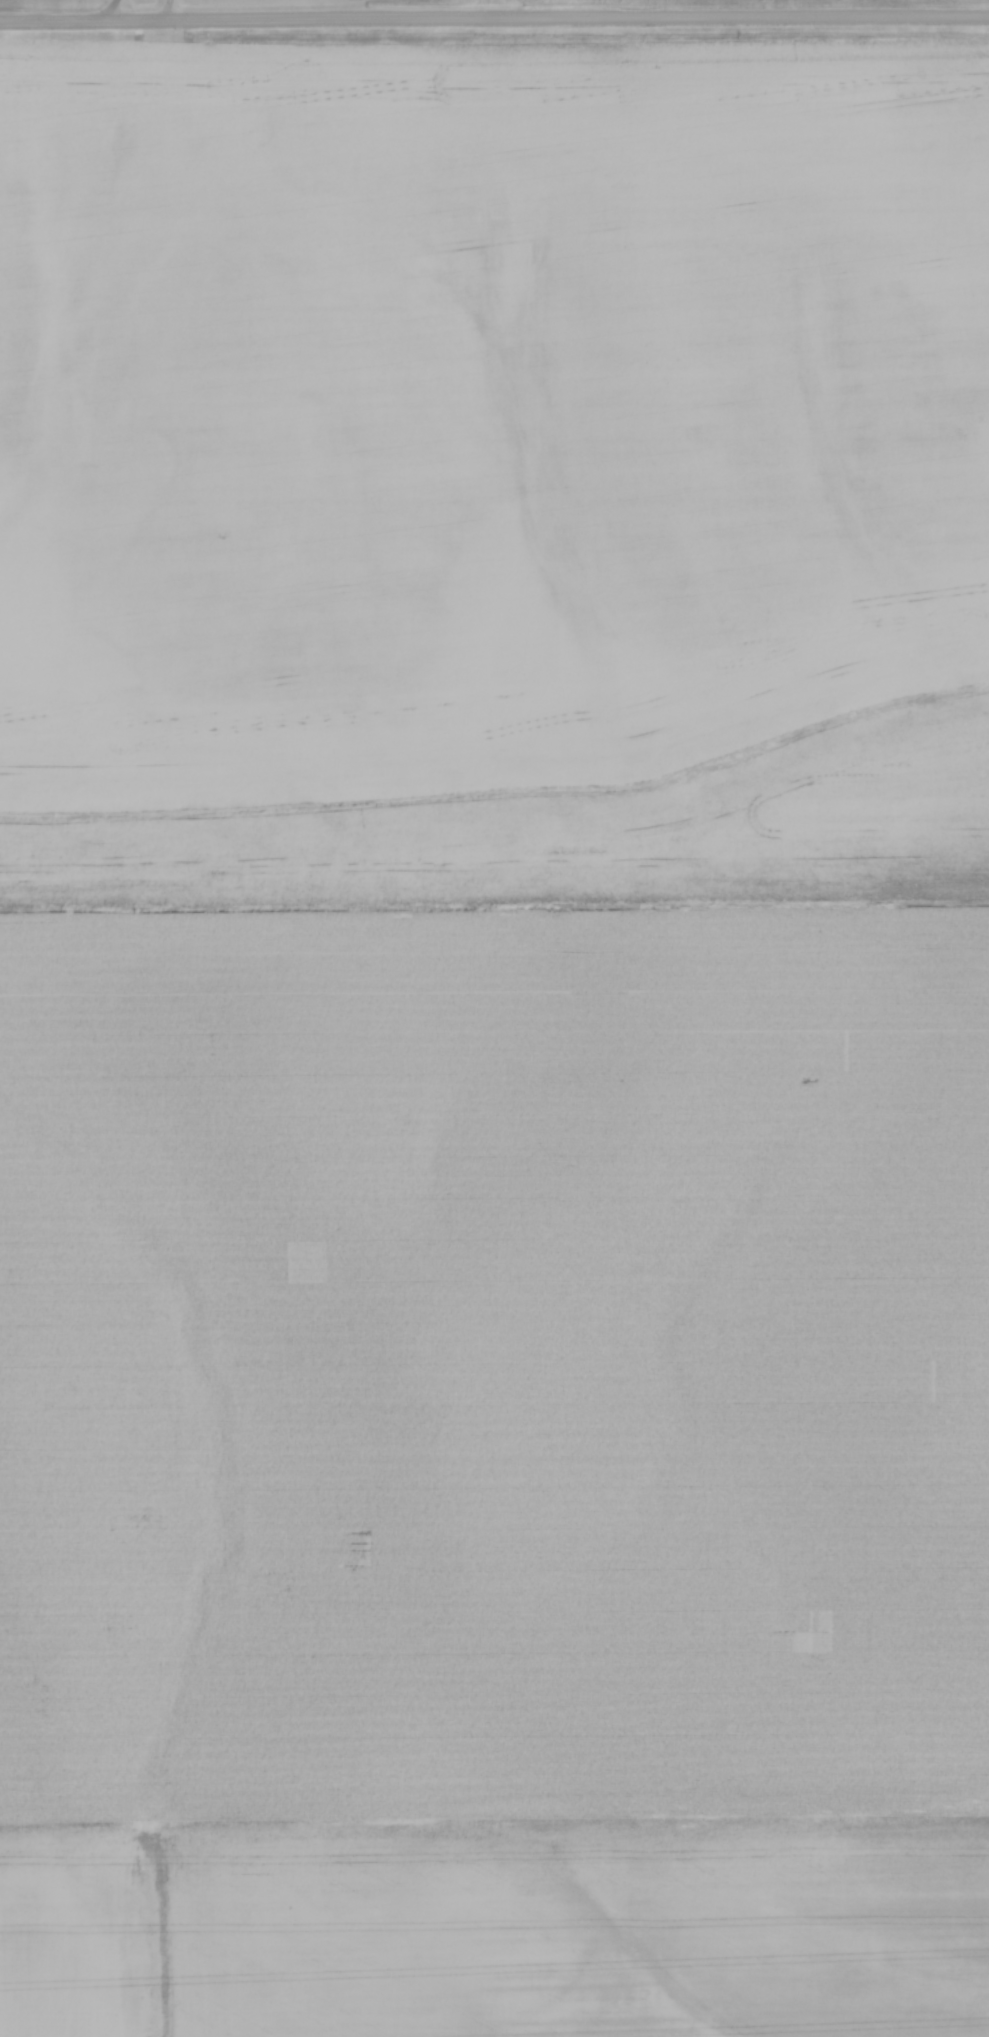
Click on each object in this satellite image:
road: (494, 23)

